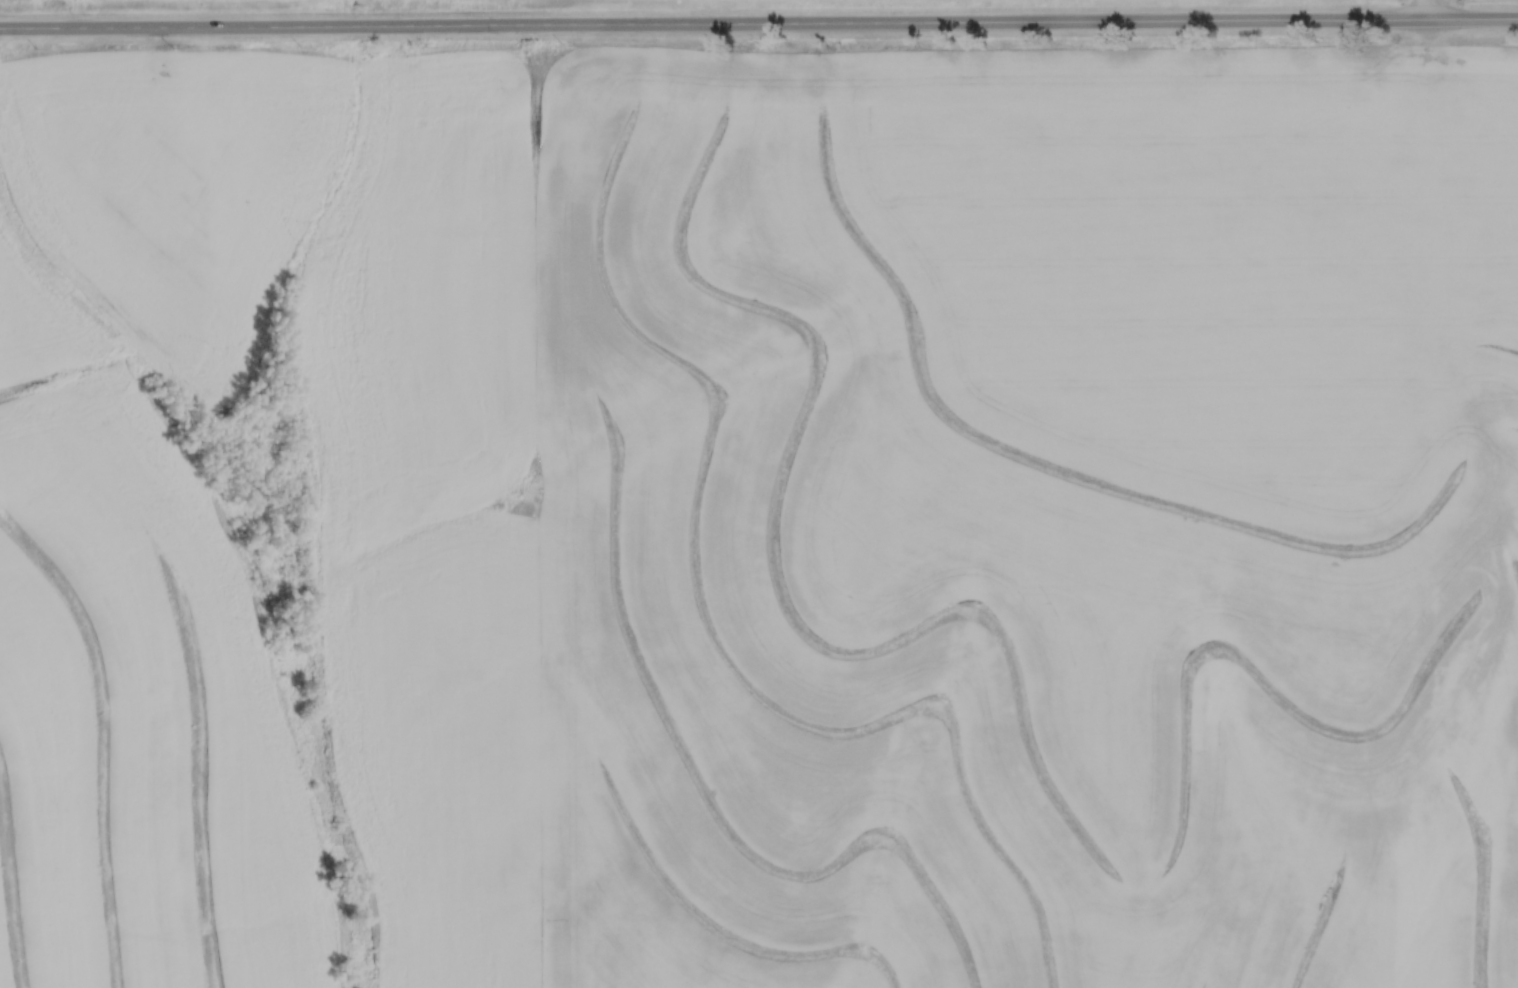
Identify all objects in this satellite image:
road: (1419, 9)
road: (758, 22)

